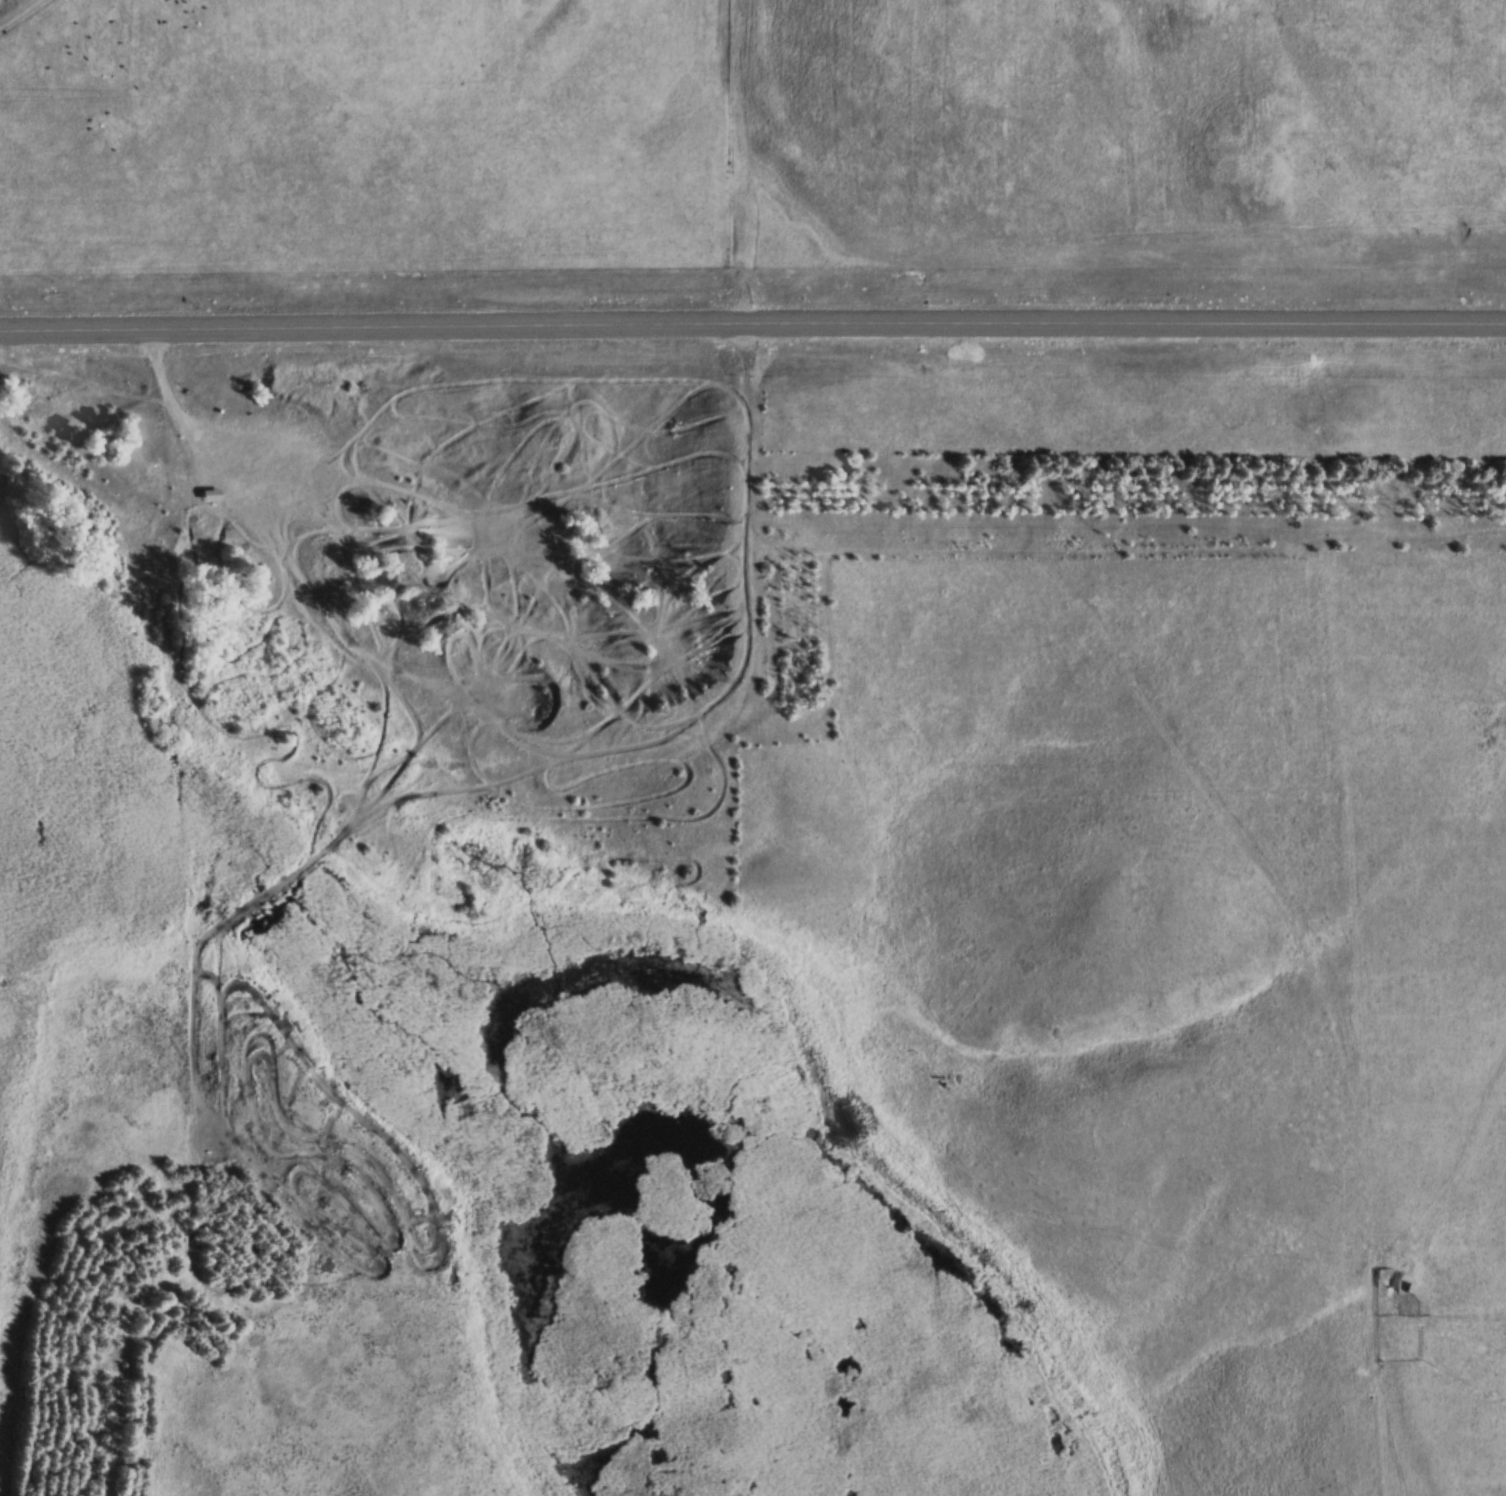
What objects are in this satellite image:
road: (752, 328)
building: (211, 494)

